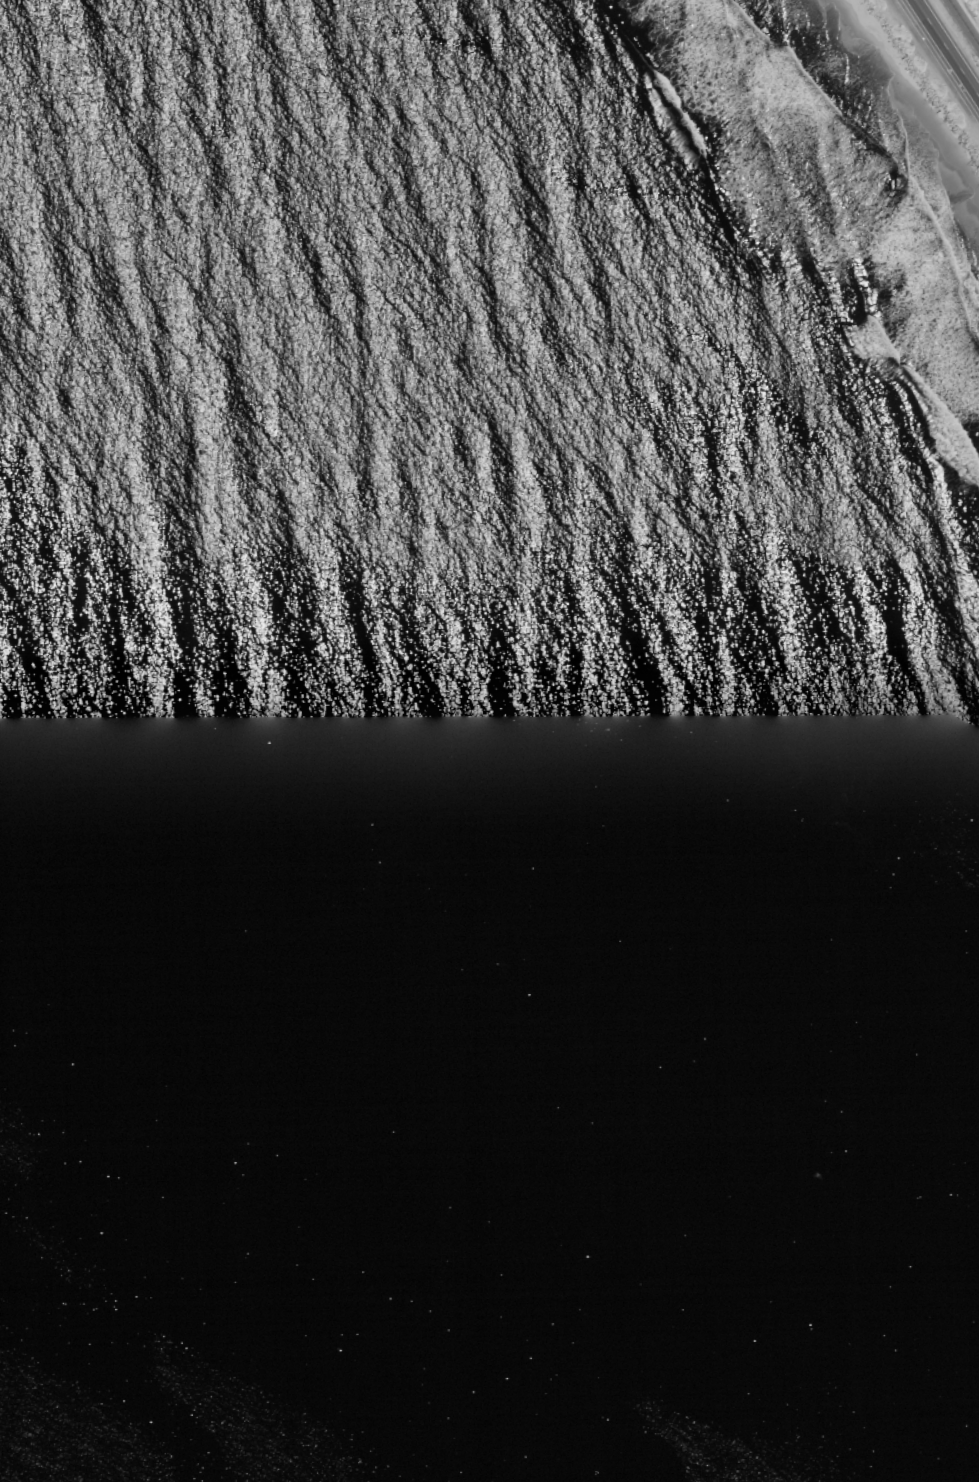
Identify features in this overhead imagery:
railway: (963, 23)
road: (945, 49)

